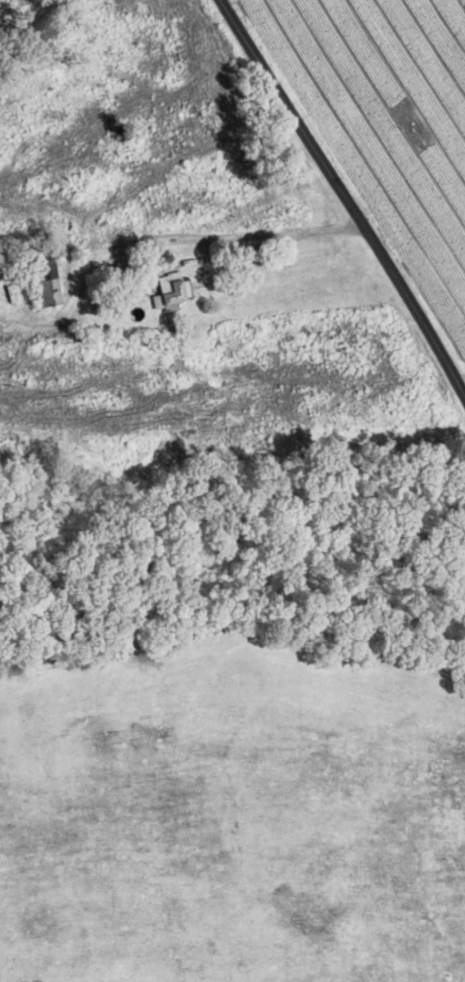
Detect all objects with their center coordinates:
road: (346, 198)
building: (42, 276)
building: (171, 288)

